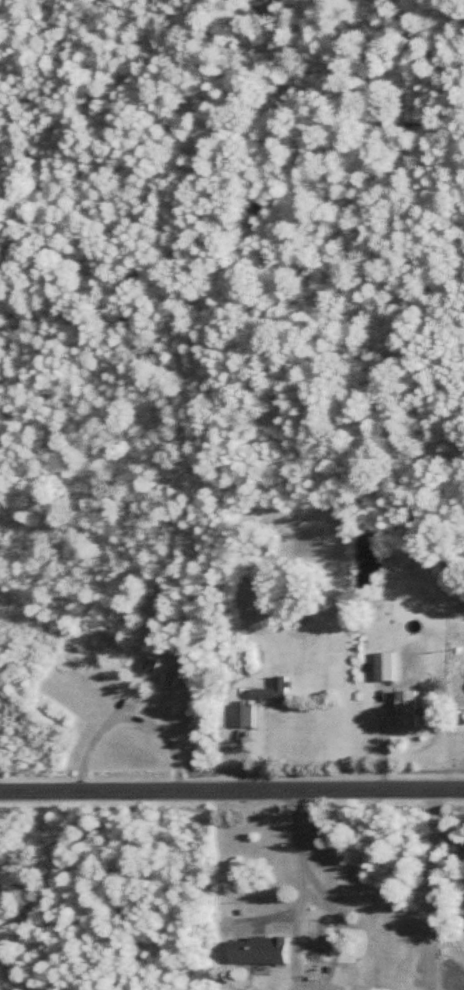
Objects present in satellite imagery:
building: (148, 664)
building: (384, 666)
building: (174, 669)
building: (271, 689)
building: (404, 708)
road: (125, 714)
building: (243, 714)
road: (232, 789)
road: (302, 878)
building: (310, 949)
building: (255, 950)

